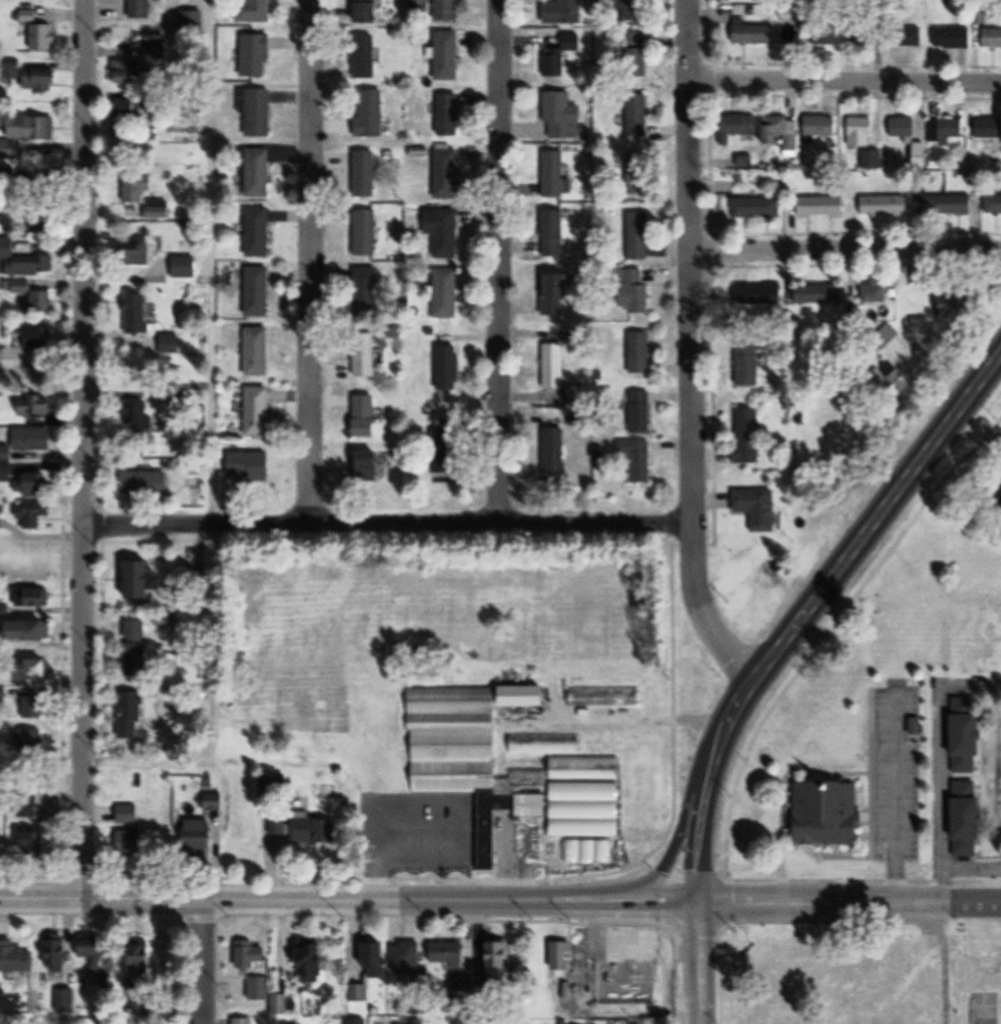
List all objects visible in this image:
building: (143, 9)
building: (257, 11)
building: (368, 11)
building: (449, 11)
building: (633, 11)
building: (564, 13)
building: (979, 16)
building: (818, 28)
building: (38, 31)
building: (753, 34)
building: (862, 35)
building: (909, 38)
building: (952, 39)
building: (990, 39)
building: (561, 55)
building: (257, 56)
building: (365, 57)
building: (448, 57)
building: (636, 57)
building: (127, 72)
building: (32, 77)
road: (846, 80)
building: (127, 109)
building: (258, 114)
building: (370, 114)
building: (449, 115)
building: (637, 116)
building: (563, 118)
building: (741, 125)
building: (822, 125)
building: (903, 128)
building: (987, 129)
building: (945, 131)
building: (861, 132)
building: (785, 133)
building: (27, 135)
building: (258, 173)
building: (365, 174)
building: (637, 174)
building: (447, 175)
building: (558, 187)
building: (139, 188)
building: (993, 204)
building: (885, 205)
building: (948, 205)
building: (822, 207)
building: (756, 208)
building: (159, 210)
building: (40, 222)
building: (443, 231)
building: (259, 233)
building: (366, 233)
building: (554, 233)
building: (639, 236)
road: (850, 246)
building: (141, 252)
building: (24, 261)
road: (501, 263)
road: (312, 264)
building: (184, 267)
building: (366, 288)
building: (258, 292)
building: (557, 292)
building: (446, 293)
building: (639, 293)
building: (758, 294)
building: (820, 294)
building: (875, 296)
building: (34, 297)
building: (137, 313)
building: (37, 337)
building: (1, 347)
road: (695, 348)
building: (258, 351)
building: (365, 356)
building: (641, 357)
building: (747, 364)
building: (449, 367)
building: (555, 371)
building: (903, 381)
building: (580, 396)
building: (35, 407)
building: (257, 411)
building: (641, 412)
building: (366, 415)
building: (135, 418)
building: (749, 436)
building: (33, 439)
road: (85, 449)
building: (444, 451)
building: (555, 451)
building: (640, 461)
building: (250, 466)
building: (370, 466)
road: (212, 480)
building: (145, 483)
building: (32, 484)
building: (998, 500)
building: (760, 511)
building: (34, 514)
road: (878, 517)
road: (389, 527)
road: (42, 537)
building: (144, 579)
building: (36, 597)
building: (37, 631)
building: (137, 648)
building: (32, 671)
building: (525, 696)
building: (604, 697)
road: (741, 697)
building: (33, 708)
building: (132, 715)
building: (968, 734)
building: (544, 744)
road: (944, 768)
building: (453, 779)
building: (214, 802)
building: (581, 805)
building: (27, 806)
road: (705, 809)
building: (128, 815)
building: (969, 819)
road: (681, 821)
building: (830, 827)
building: (278, 831)
building: (315, 831)
building: (199, 835)
building: (131, 843)
building: (33, 846)
road: (304, 899)
road: (653, 903)
road: (849, 905)
building: (94, 952)
building: (449, 954)
building: (57, 956)
building: (251, 956)
building: (563, 956)
building: (407, 957)
building: (313, 959)
building: (499, 959)
building: (375, 960)
road: (210, 961)
road: (700, 964)
building: (141, 968)
park: (864, 975)
building: (613, 985)
building: (258, 993)
building: (359, 993)
building: (419, 1005)
building: (357, 1021)

